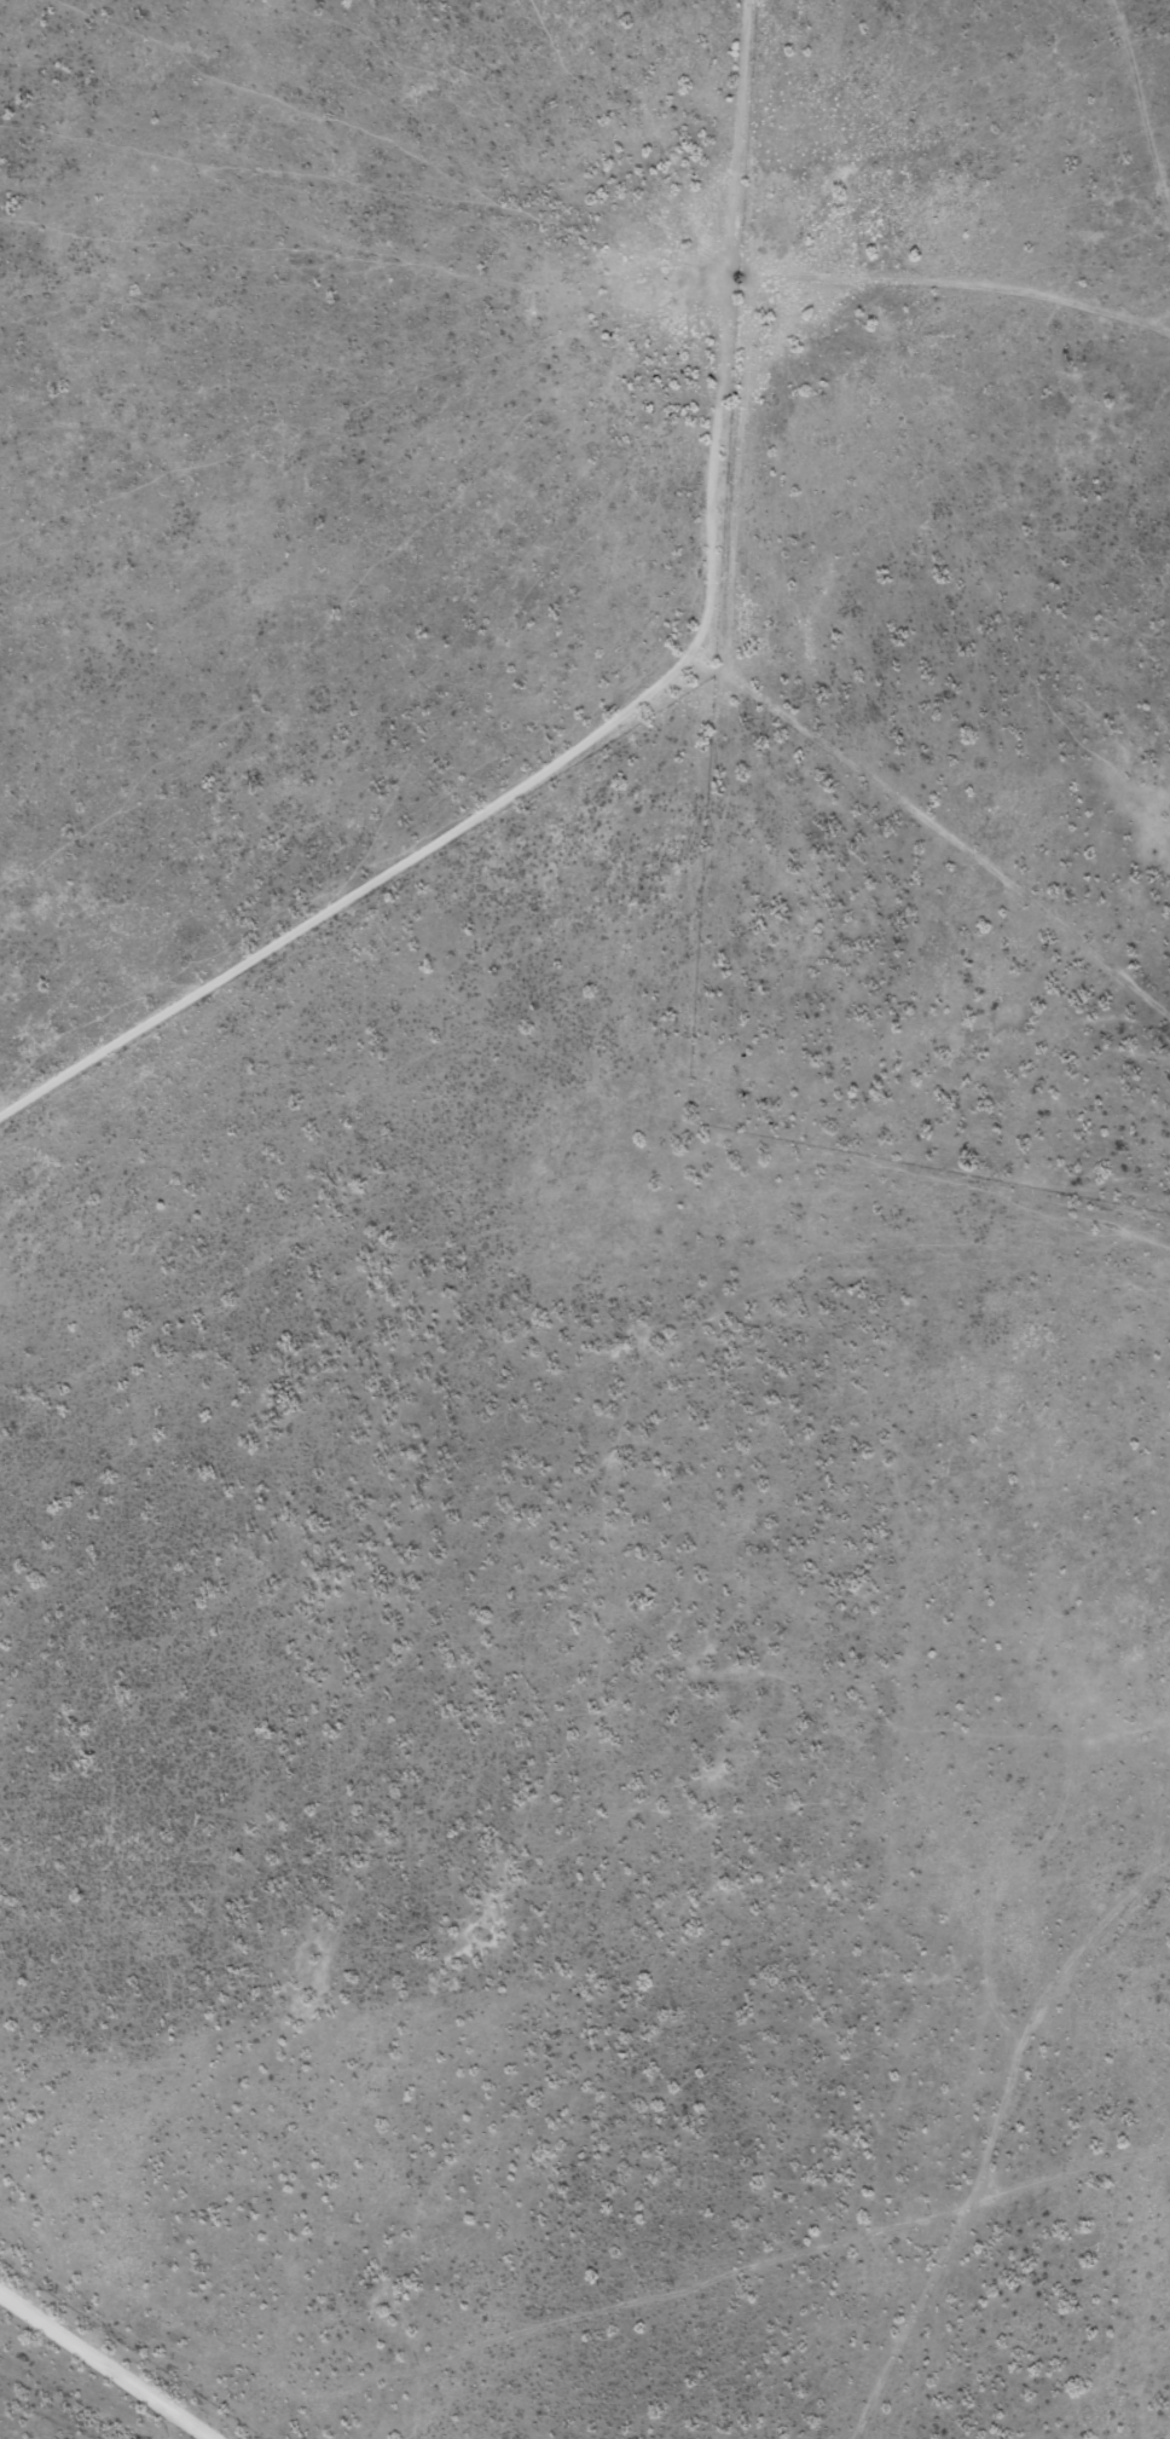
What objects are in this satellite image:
road: (40, 2414)

